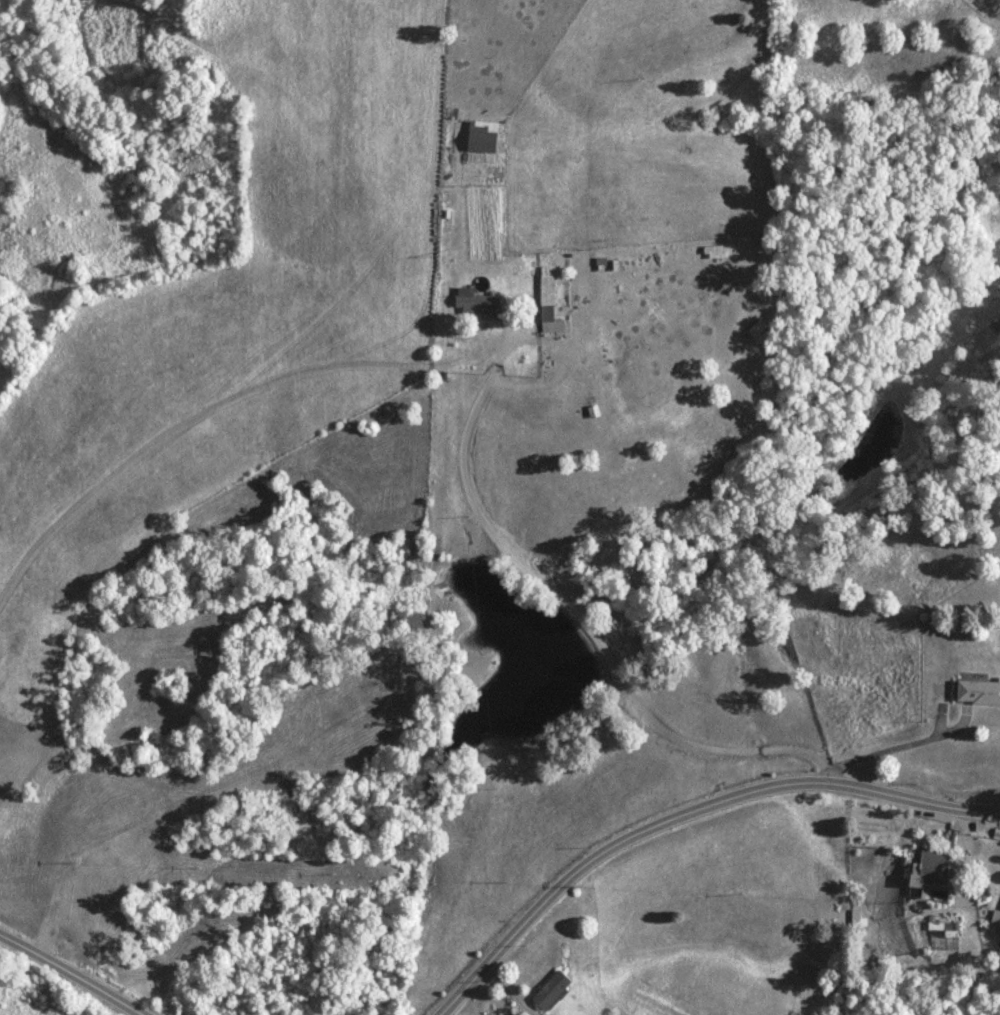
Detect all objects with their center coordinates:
building: (549, 302)
building: (480, 305)
building: (758, 329)
road: (507, 340)
road: (558, 602)
building: (978, 693)
road: (687, 814)
building: (937, 870)
road: (72, 972)
building: (552, 989)

